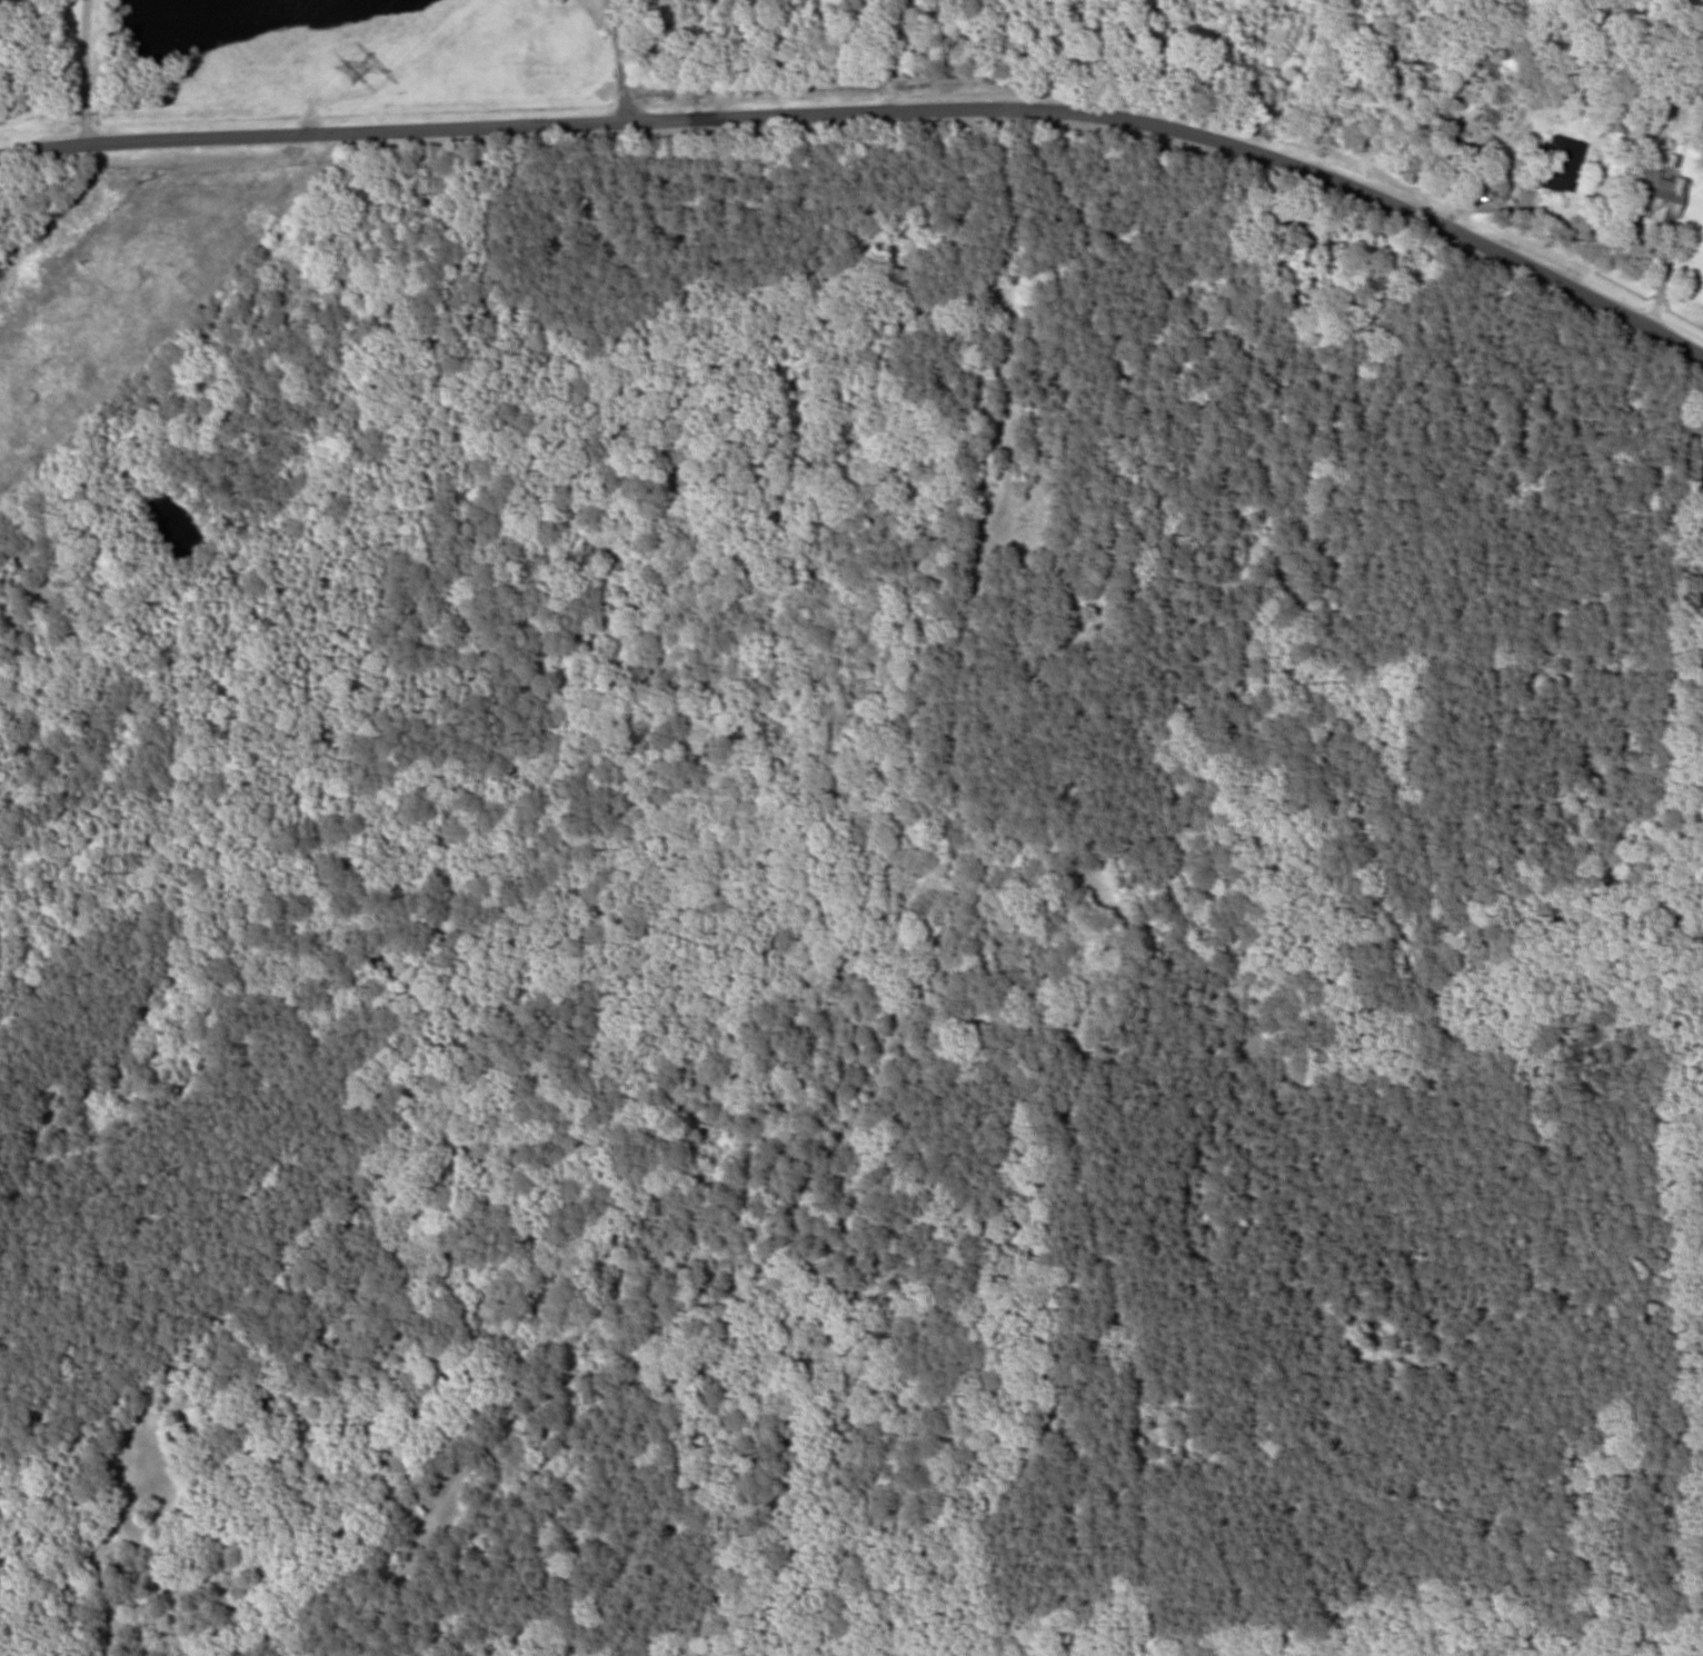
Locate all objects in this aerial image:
power tower: (357, 59)
road: (875, 116)
building: (1554, 166)
building: (1657, 194)

